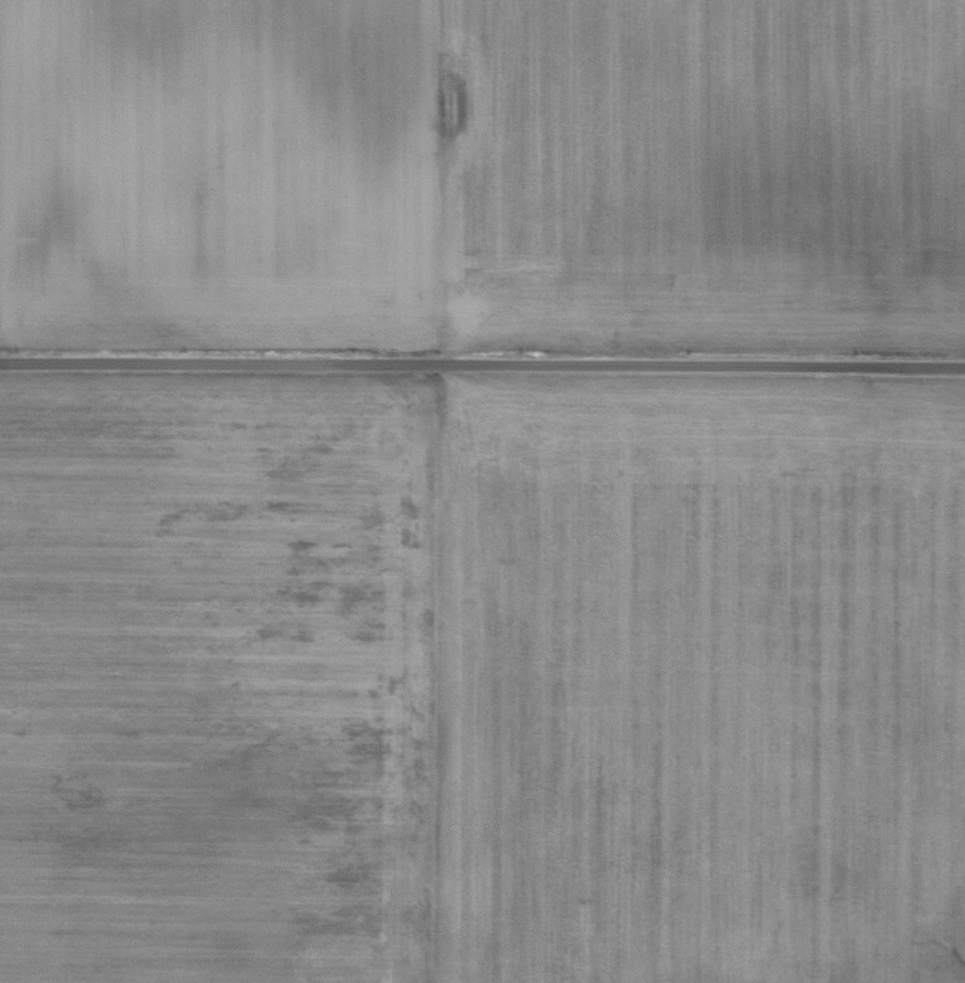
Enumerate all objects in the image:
road: (482, 367)

